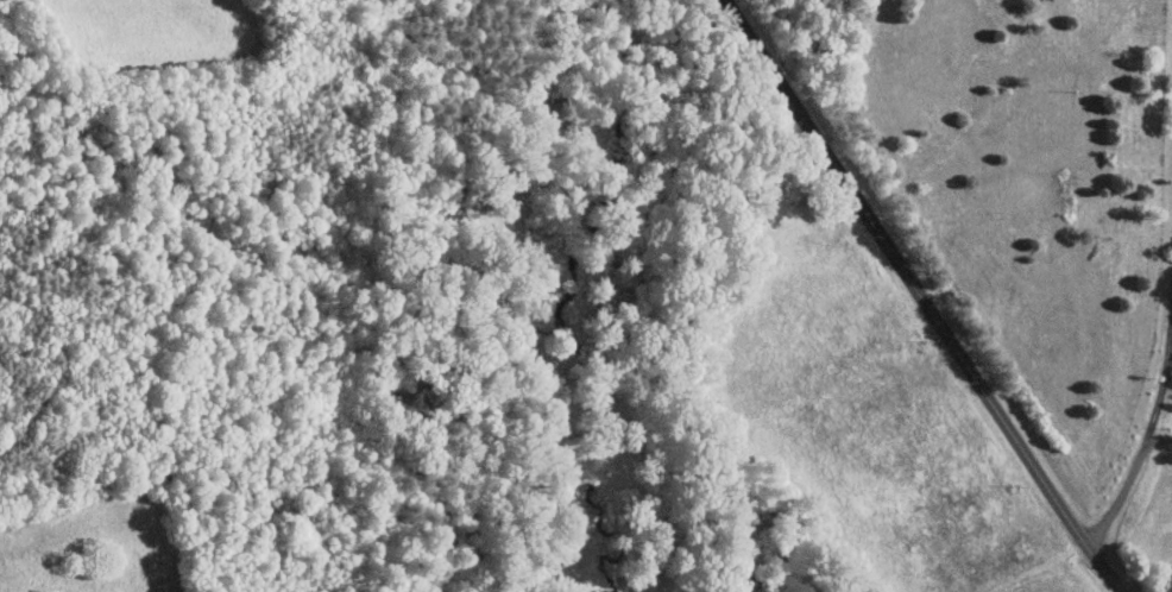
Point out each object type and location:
road: (928, 297)
road: (1160, 440)
road: (1135, 468)

